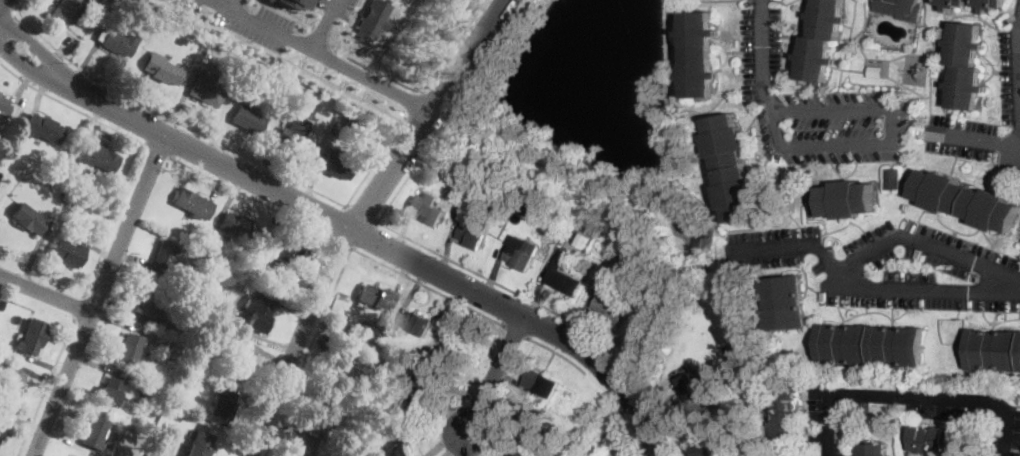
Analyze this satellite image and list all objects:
road: (2, 3)
building: (294, 3)
road: (229, 4)
building: (953, 4)
building: (990, 4)
road: (17, 5)
building: (901, 9)
road: (306, 10)
building: (64, 11)
parking lot: (333, 11)
road: (286, 13)
parking lot: (1017, 15)
building: (372, 19)
road: (6, 21)
road: (261, 24)
road: (322, 24)
road: (346, 25)
parking lot: (267, 27)
road: (320, 29)
road: (334, 36)
building: (821, 40)
road: (1017, 41)
building: (119, 42)
building: (183, 42)
road: (31, 46)
road: (454, 46)
building: (698, 55)
road: (762, 56)
road: (330, 58)
road: (25, 61)
road: (303, 61)
building: (239, 65)
building: (966, 66)
building: (161, 69)
road: (323, 71)
road: (371, 78)
road: (1016, 85)
building: (205, 88)
building: (0, 92)
building: (302, 100)
parking lot: (1009, 102)
road: (416, 104)
parking lot: (814, 105)
road: (71, 106)
building: (7, 108)
road: (172, 119)
building: (247, 119)
building: (352, 123)
building: (43, 128)
parking lot: (961, 135)
road: (978, 137)
building: (295, 139)
road: (893, 142)
road: (158, 151)
building: (97, 156)
road: (376, 161)
building: (334, 164)
building: (438, 164)
building: (731, 168)
building: (893, 179)
building: (490, 193)
road: (249, 196)
building: (64, 197)
building: (843, 199)
building: (966, 200)
building: (193, 204)
building: (426, 207)
building: (84, 209)
road: (360, 215)
road: (358, 216)
building: (29, 218)
road: (115, 220)
road: (844, 224)
road: (948, 225)
building: (237, 226)
road: (953, 231)
building: (472, 235)
road: (339, 242)
road: (377, 242)
road: (925, 245)
building: (568, 246)
building: (600, 248)
building: (68, 253)
building: (286, 253)
building: (523, 255)
building: (166, 257)
building: (254, 260)
parking lot: (891, 264)
building: (563, 280)
road: (497, 283)
building: (203, 287)
road: (429, 287)
road: (875, 287)
building: (651, 290)
road: (46, 293)
road: (99, 296)
building: (218, 296)
building: (373, 296)
building: (147, 300)
building: (785, 302)
building: (611, 305)
building: (215, 306)
road: (79, 307)
building: (257, 313)
building: (415, 322)
building: (172, 323)
building: (377, 329)
building: (703, 331)
road: (516, 332)
building: (31, 337)
building: (462, 343)
building: (870, 345)
building: (127, 347)
building: (994, 350)
road: (308, 351)
building: (734, 351)
building: (437, 353)
road: (558, 353)
building: (339, 354)
building: (240, 361)
building: (183, 369)
road: (495, 374)
building: (10, 382)
building: (542, 382)
building: (696, 386)
road: (46, 387)
building: (146, 387)
road: (605, 388)
building: (109, 392)
building: (420, 392)
road: (915, 395)
building: (370, 401)
building: (221, 406)
building: (323, 406)
building: (787, 414)
building: (526, 424)
building: (2, 427)
building: (94, 431)
road: (629, 431)
building: (937, 440)
building: (396, 443)
building: (156, 444)
building: (198, 444)
building: (538, 445)
building: (303, 447)
building: (521, 449)
building: (707, 449)
building: (548, 450)
building: (870, 450)
building: (148, 454)

